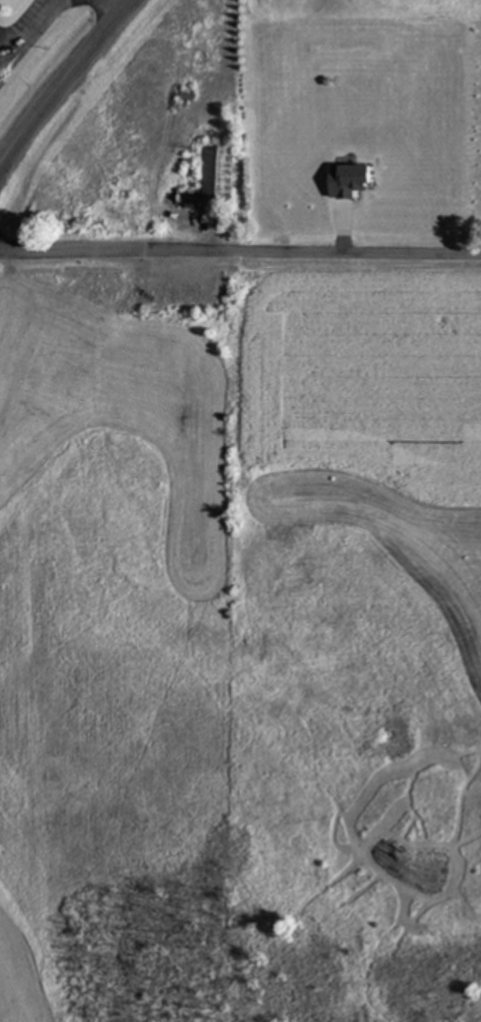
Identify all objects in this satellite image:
road: (107, 9)
airport: (31, 40)
road: (35, 41)
road: (63, 82)
building: (218, 174)
building: (348, 180)
road: (240, 251)

